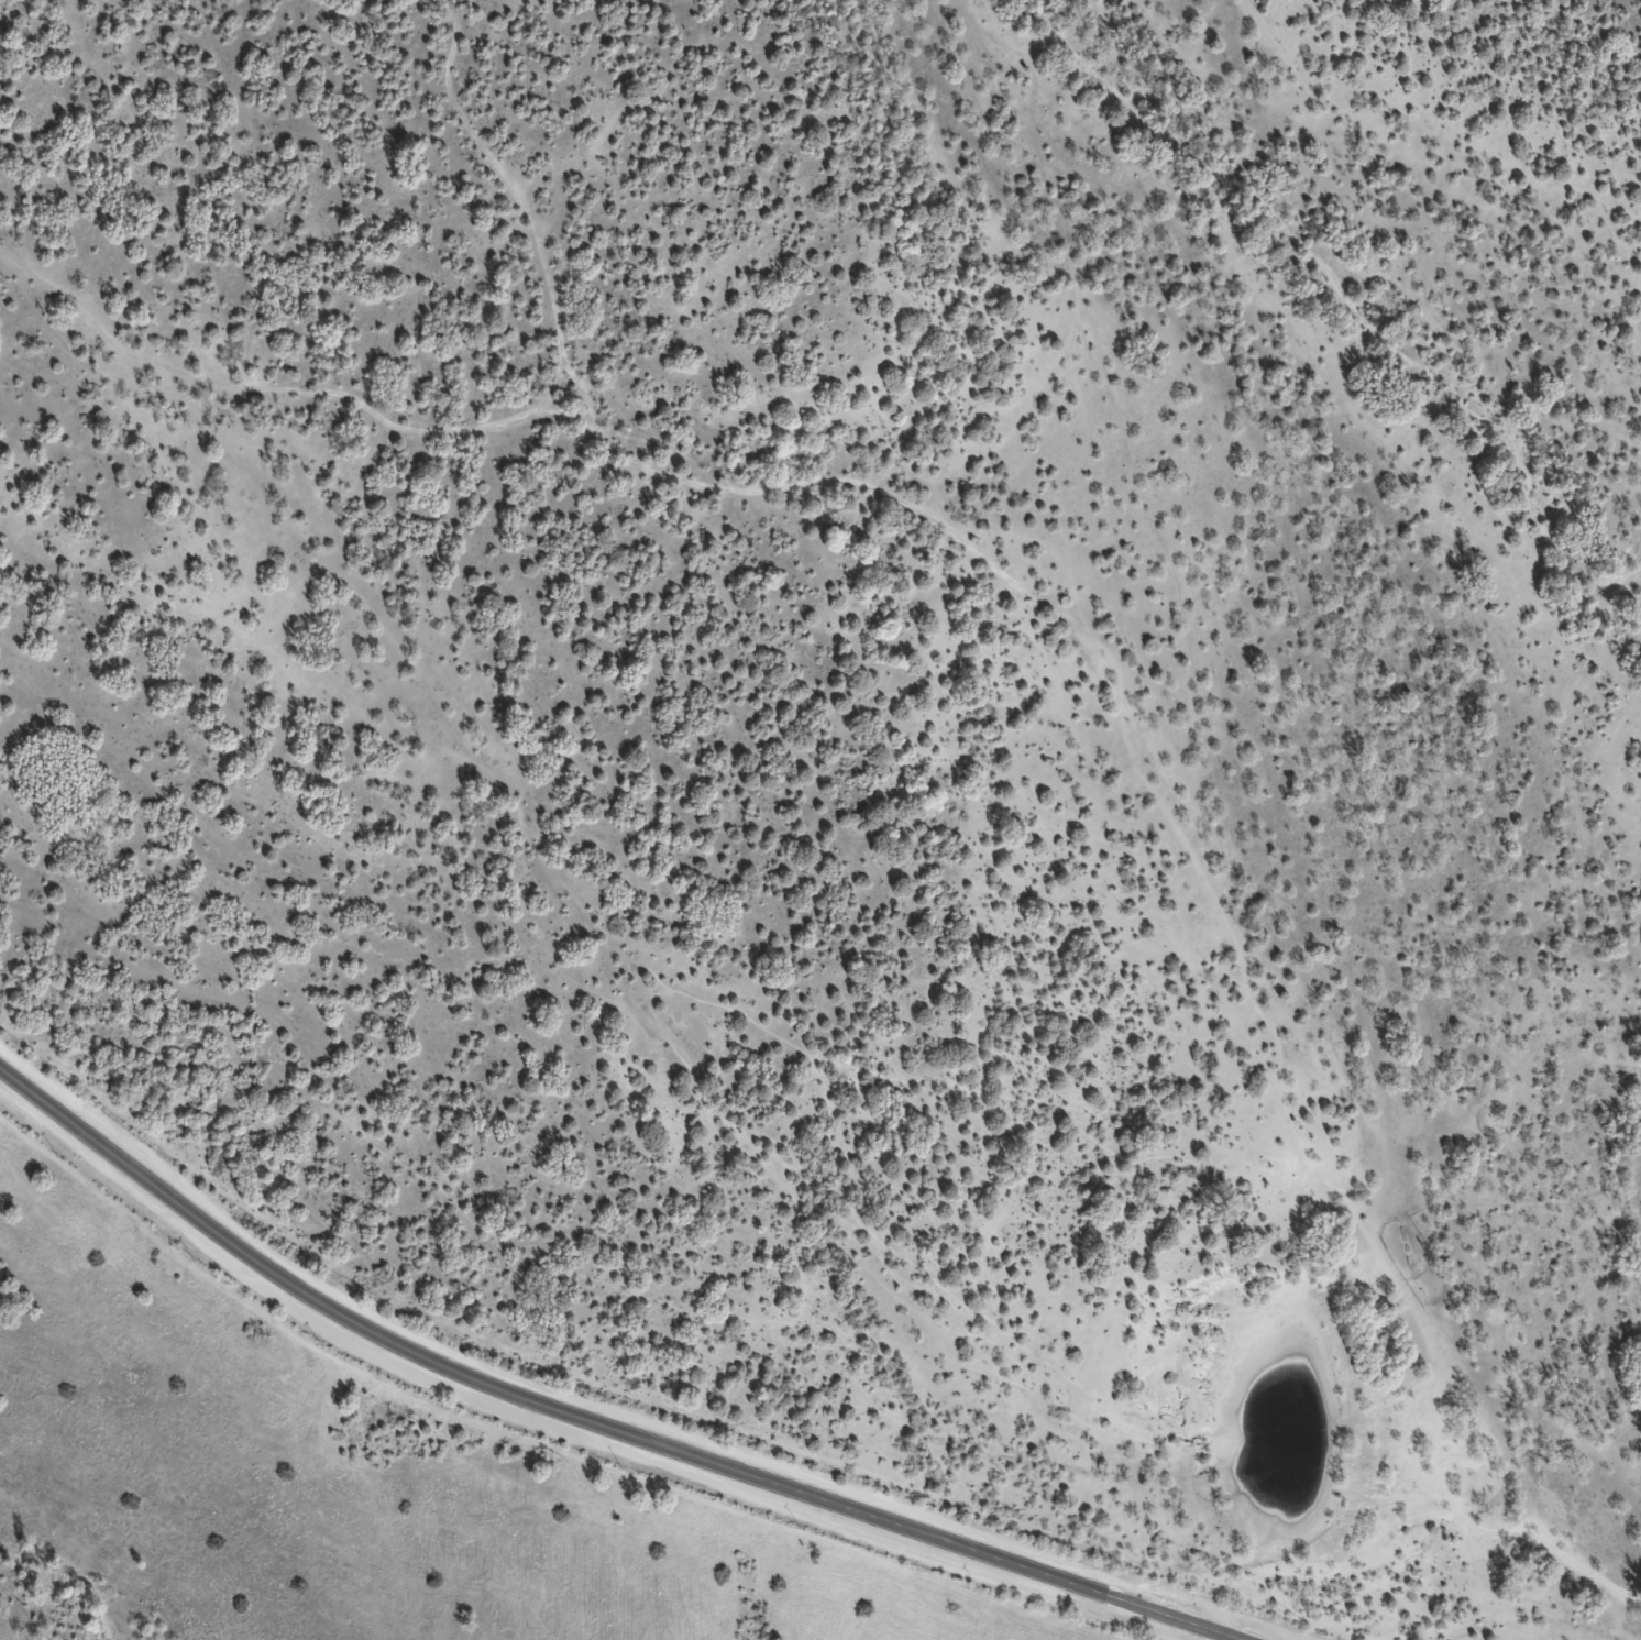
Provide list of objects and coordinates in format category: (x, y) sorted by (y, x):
road: (268, 403)
road: (1101, 687)
road: (591, 1420)

